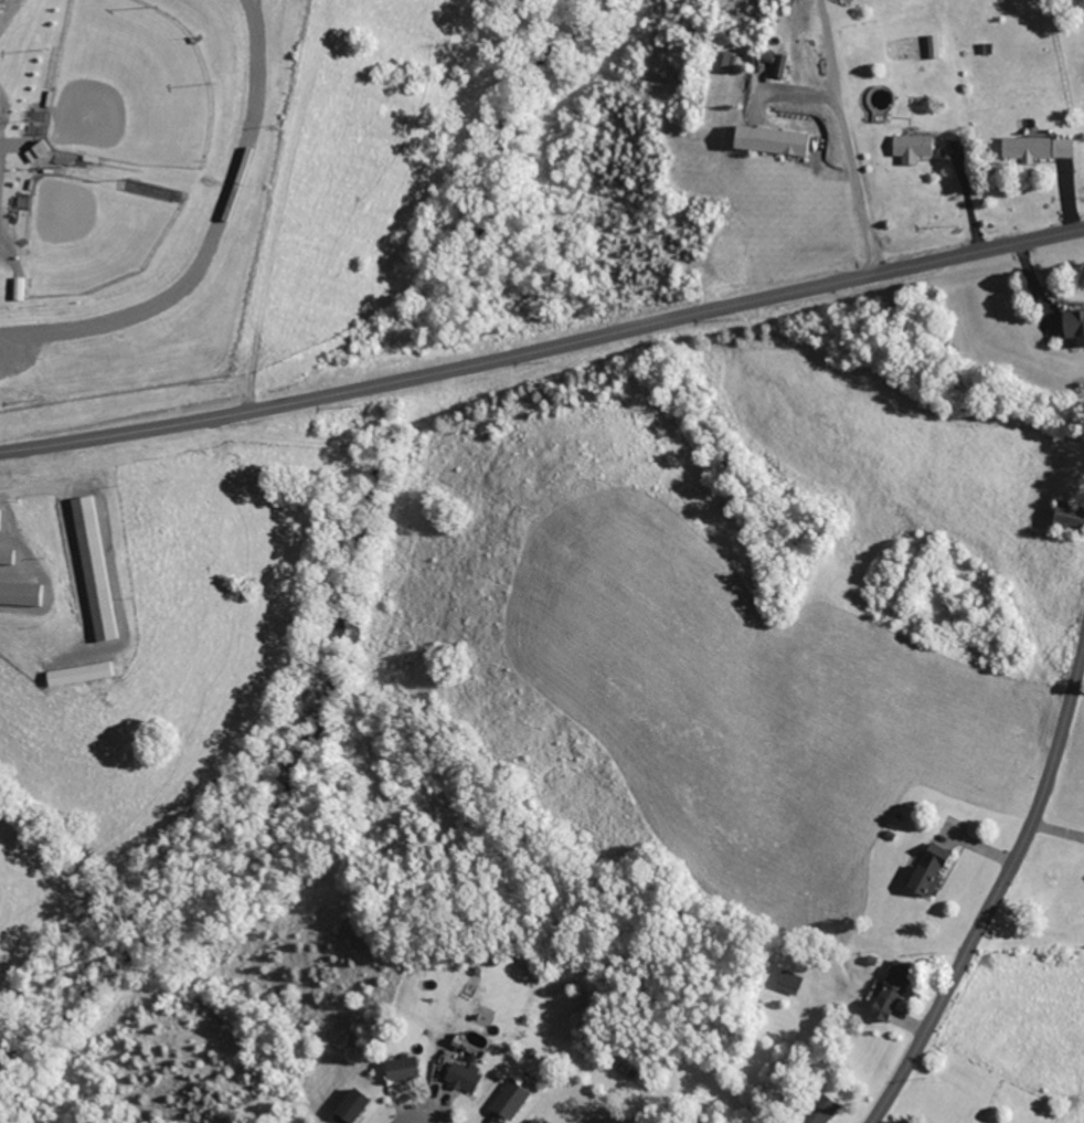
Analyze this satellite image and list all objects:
building: (726, 61)
building: (777, 65)
building: (765, 140)
building: (907, 148)
building: (1022, 148)
building: (33, 150)
park: (152, 184)
building: (15, 288)
building: (1071, 326)
road: (543, 347)
building: (1064, 516)
building: (4, 554)
building: (91, 566)
building: (21, 592)
building: (74, 672)
road: (1054, 843)
building: (925, 869)
road: (999, 887)
building: (786, 982)
building: (888, 988)
building: (397, 1067)
building: (459, 1076)
building: (506, 1100)
building: (348, 1105)
building: (816, 1109)
road: (416, 1119)
building: (532, 1120)

